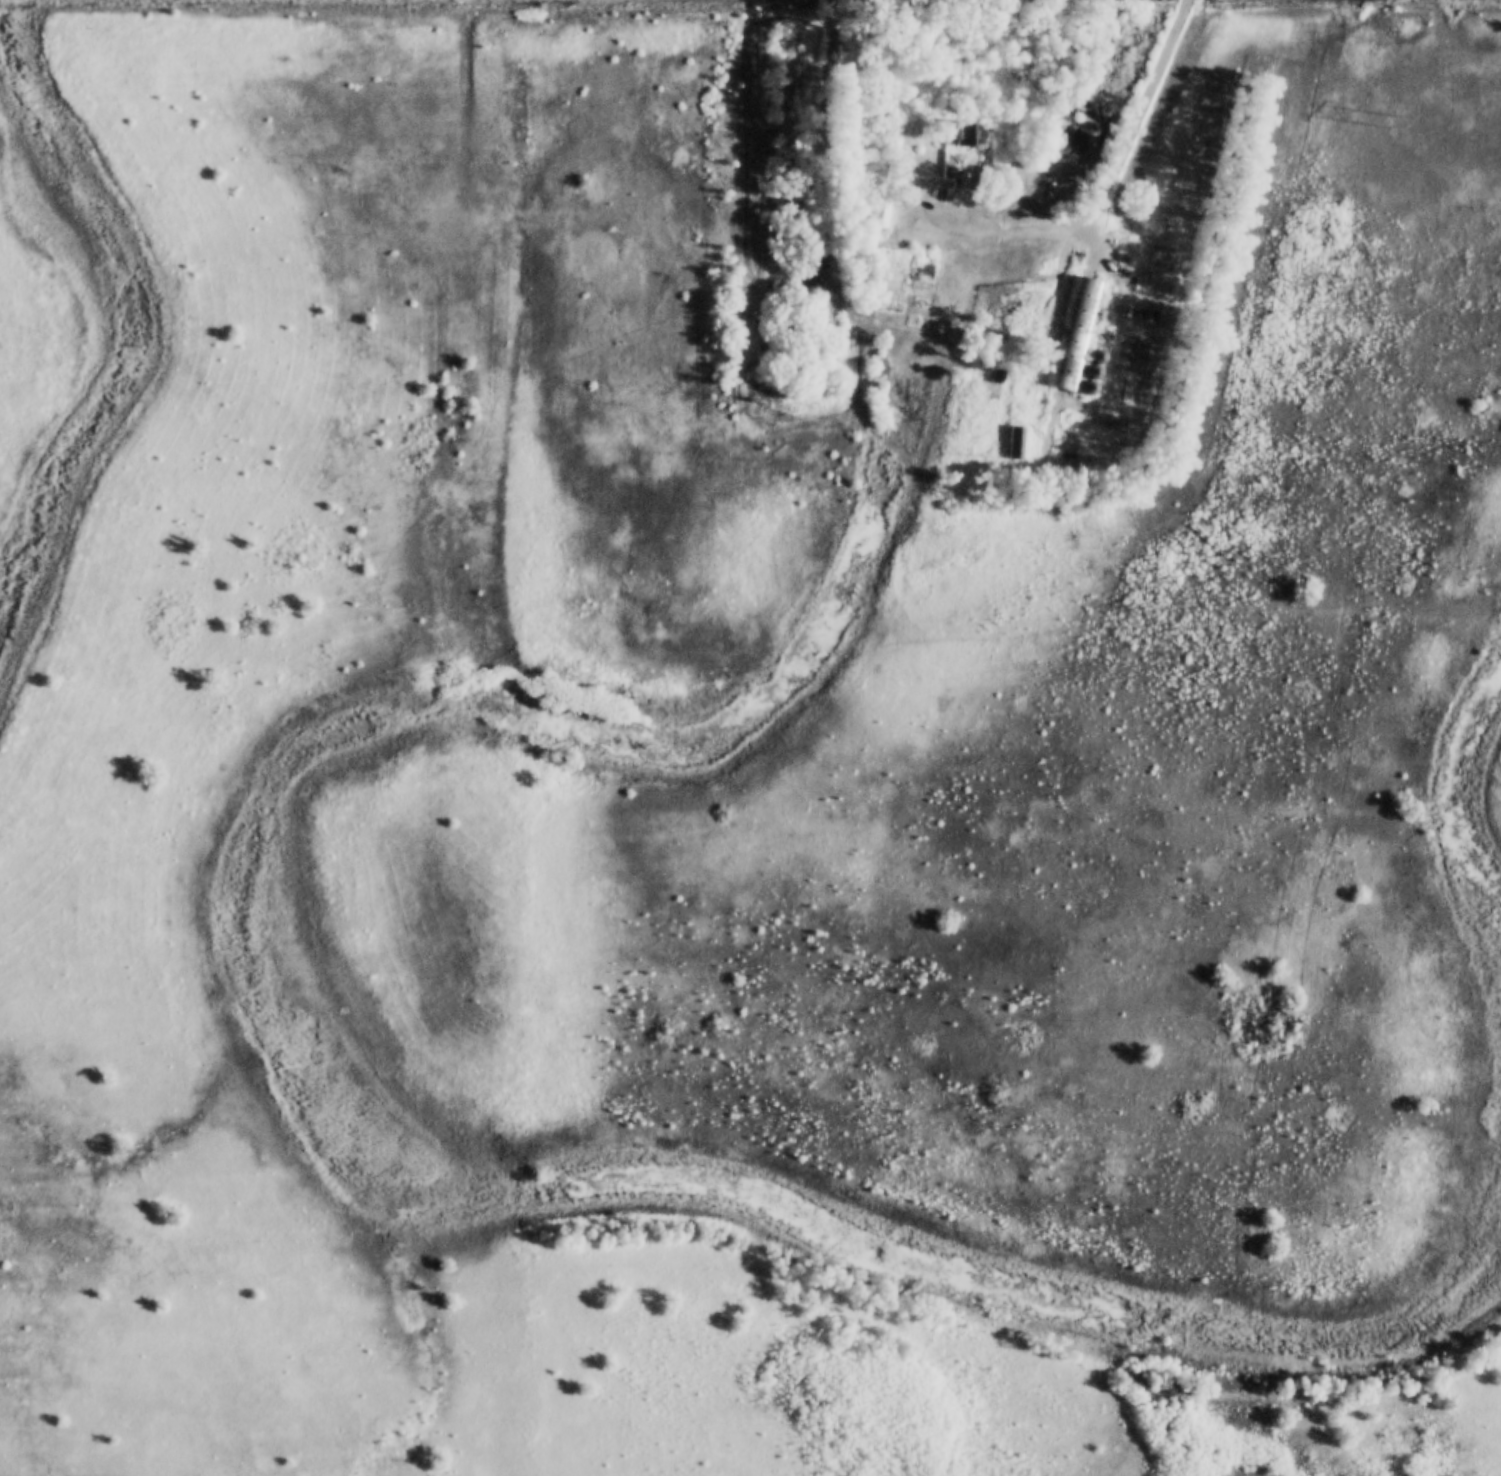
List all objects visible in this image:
power tower: (1393, 118)
road: (1108, 185)
building: (1077, 331)
building: (1021, 441)

